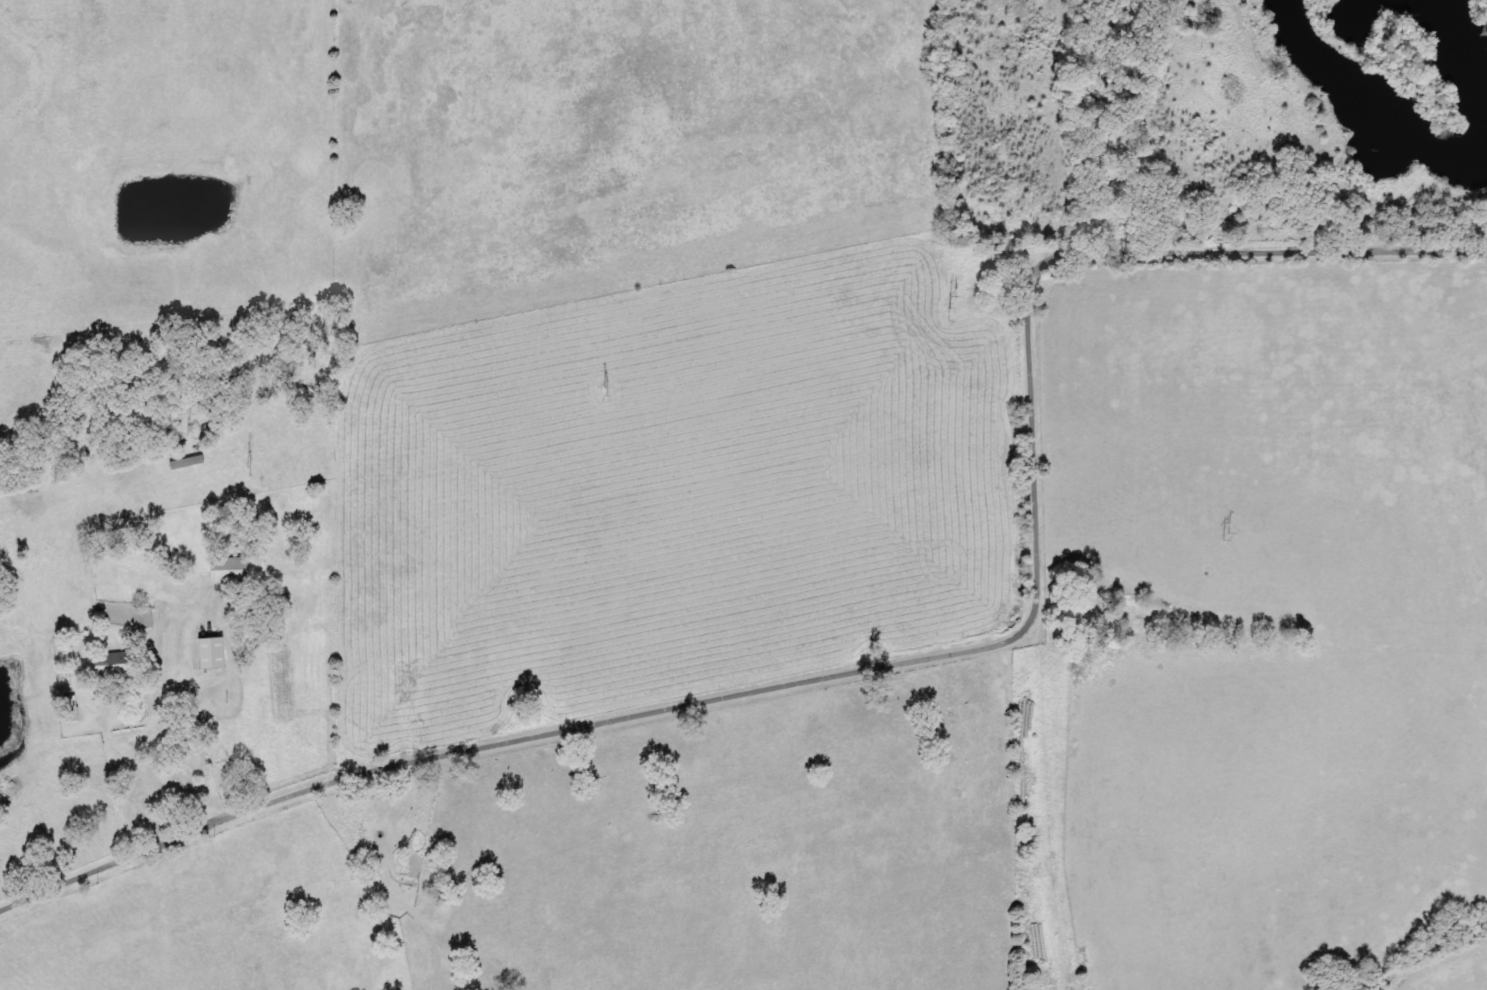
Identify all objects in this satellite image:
power tower: (949, 308)
power tower: (604, 389)
power tower: (250, 467)
power tower: (1226, 536)
building: (230, 570)
road: (1015, 570)
building: (145, 618)
building: (212, 653)
building: (113, 665)
road: (157, 848)

